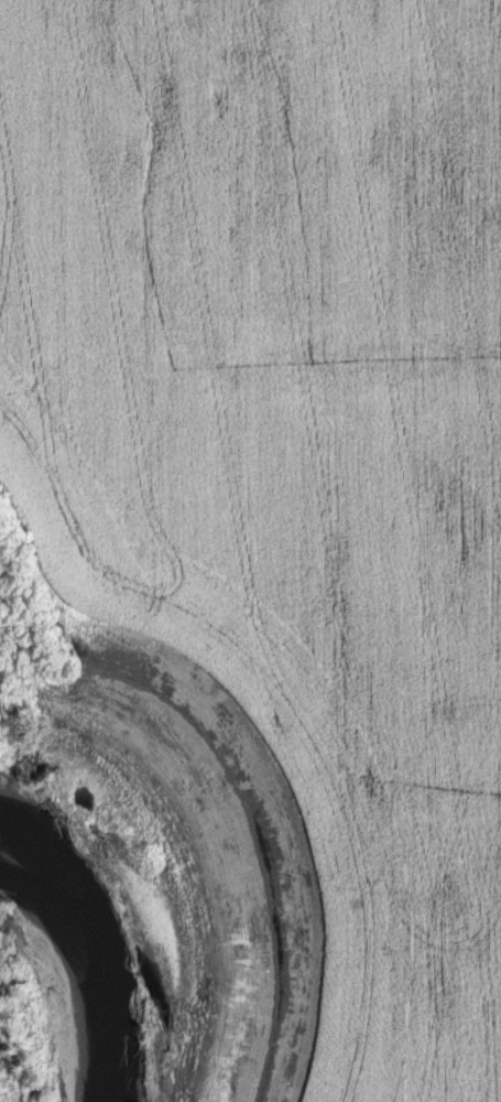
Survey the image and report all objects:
river: (67, 958)

